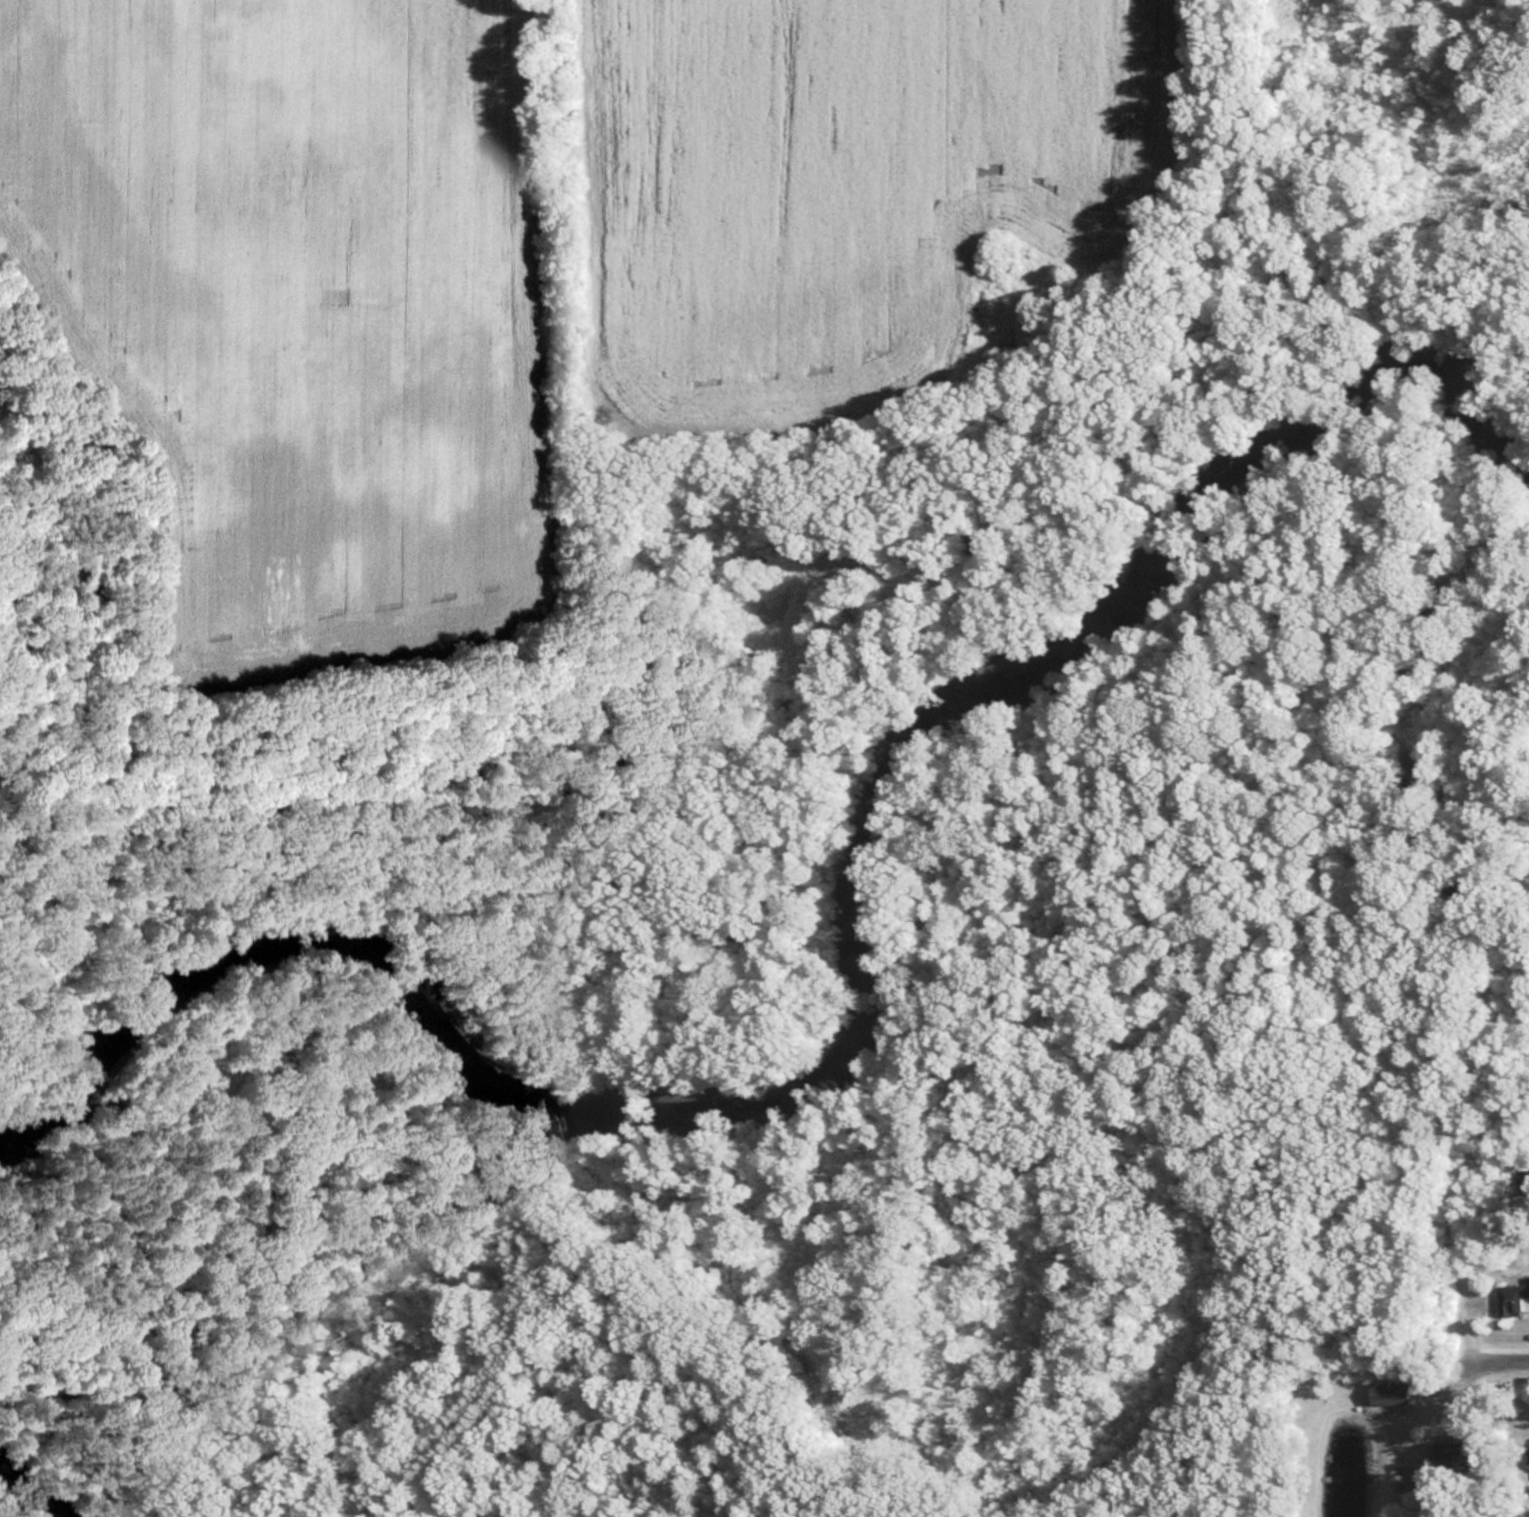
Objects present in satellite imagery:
river: (866, 984)
park: (367, 1087)
building: (1525, 1185)
building: (1514, 1301)
road: (1495, 1359)
building: (1392, 1395)
building: (1462, 1455)
building: (1527, 1455)
river: (24, 1497)

